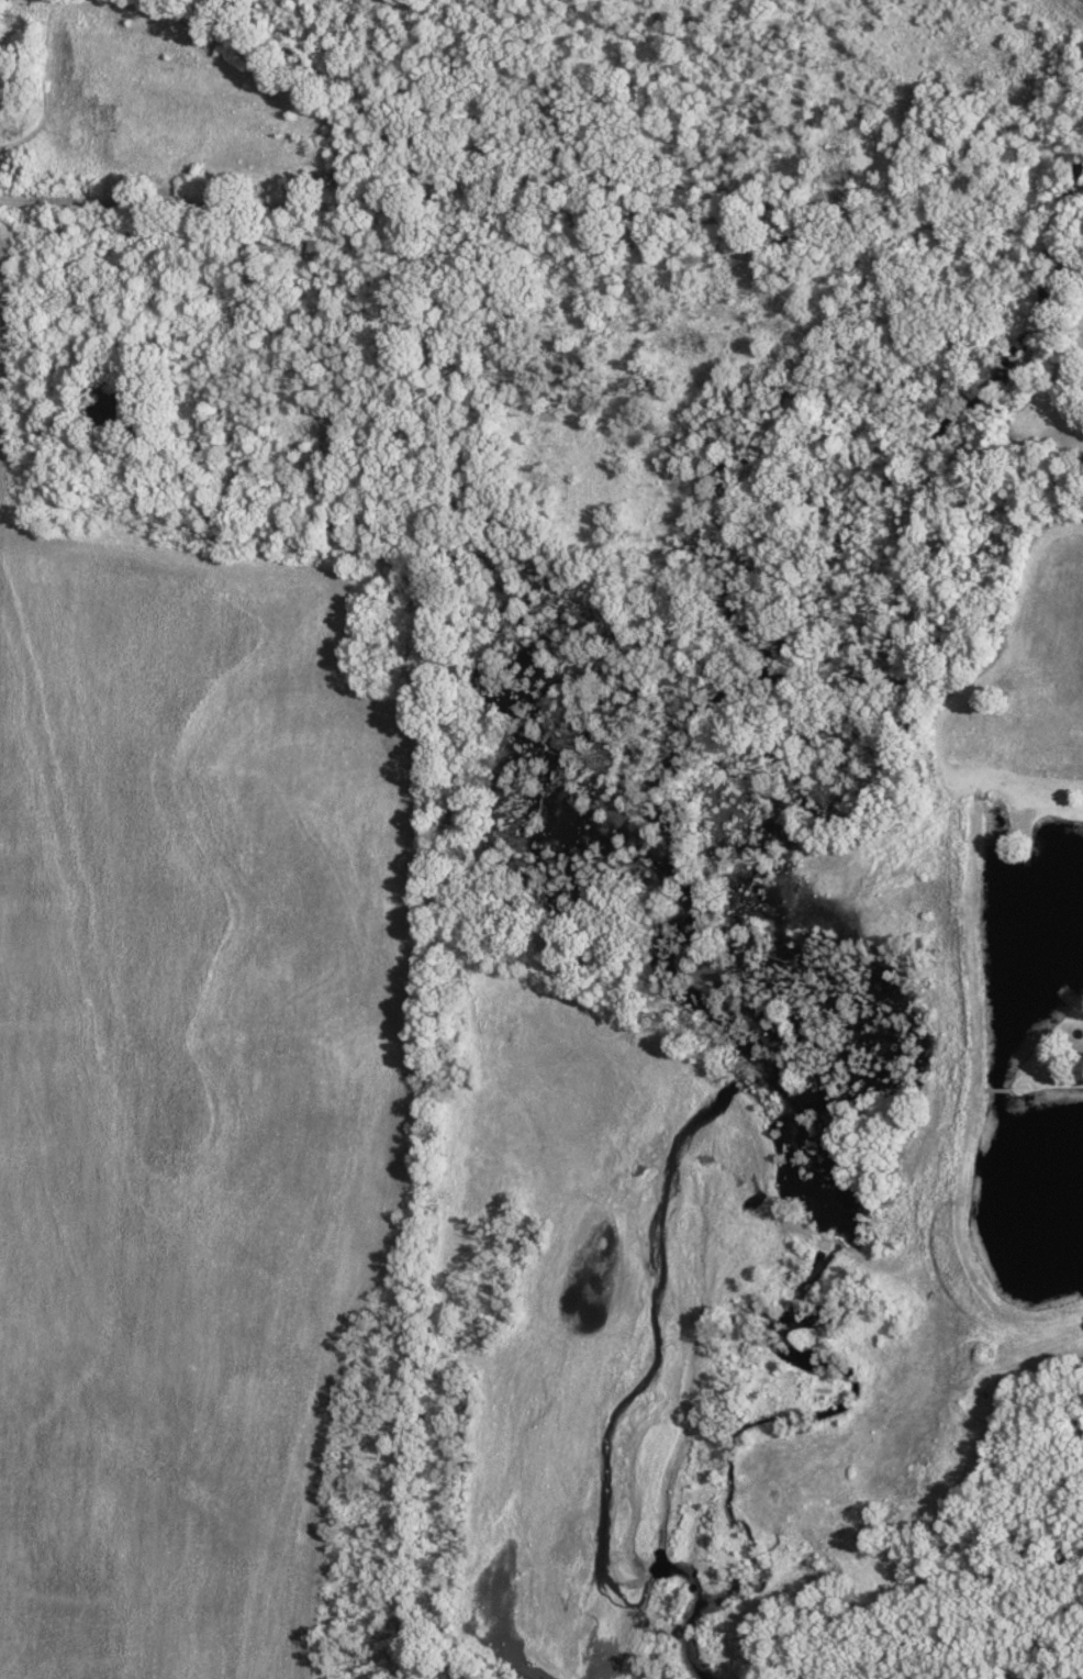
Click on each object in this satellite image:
road: (1056, 373)
crop: (192, 1085)

